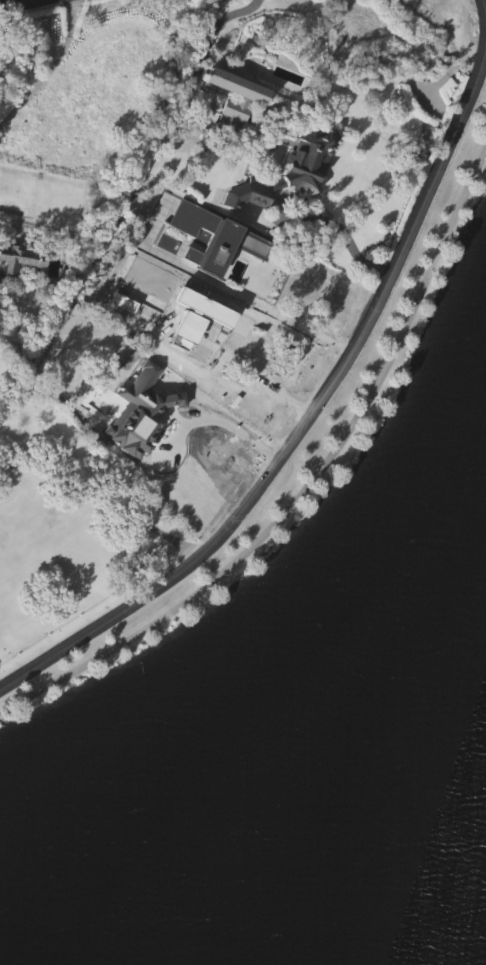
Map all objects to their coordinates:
road: (18, 4)
road: (205, 44)
road: (49, 68)
building: (233, 95)
building: (232, 122)
building: (233, 145)
building: (290, 173)
building: (286, 207)
building: (217, 238)
road: (332, 259)
building: (20, 261)
building: (214, 287)
building: (19, 293)
road: (291, 320)
road: (320, 400)
road: (306, 486)
road: (106, 496)
park: (291, 685)

